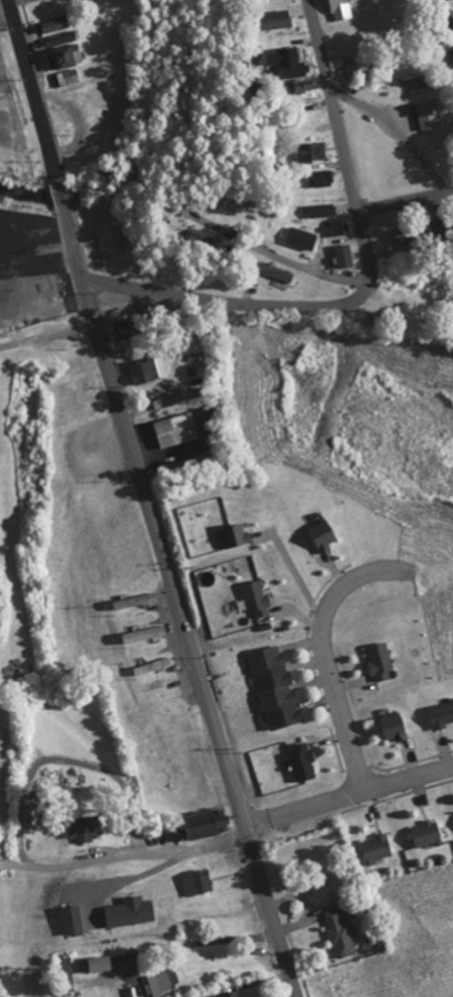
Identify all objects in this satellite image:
building: (338, 9)
building: (271, 19)
building: (450, 23)
building: (53, 24)
building: (57, 39)
building: (349, 40)
building: (452, 51)
building: (64, 57)
building: (291, 68)
building: (68, 77)
building: (428, 115)
road: (341, 141)
building: (311, 150)
building: (320, 178)
road: (405, 204)
building: (321, 209)
building: (337, 227)
building: (414, 232)
building: (300, 237)
building: (198, 238)
building: (111, 254)
building: (343, 255)
road: (270, 256)
building: (274, 272)
road: (228, 307)
building: (410, 319)
building: (147, 368)
building: (175, 429)
road: (145, 500)
building: (133, 600)
building: (139, 618)
road: (323, 647)
building: (147, 649)
building: (152, 665)
building: (159, 682)
building: (273, 687)
road: (347, 793)
building: (200, 824)
building: (83, 828)
road: (171, 851)
building: (96, 879)
building: (197, 883)
building: (340, 932)
building: (97, 964)
building: (162, 984)
building: (227, 994)

